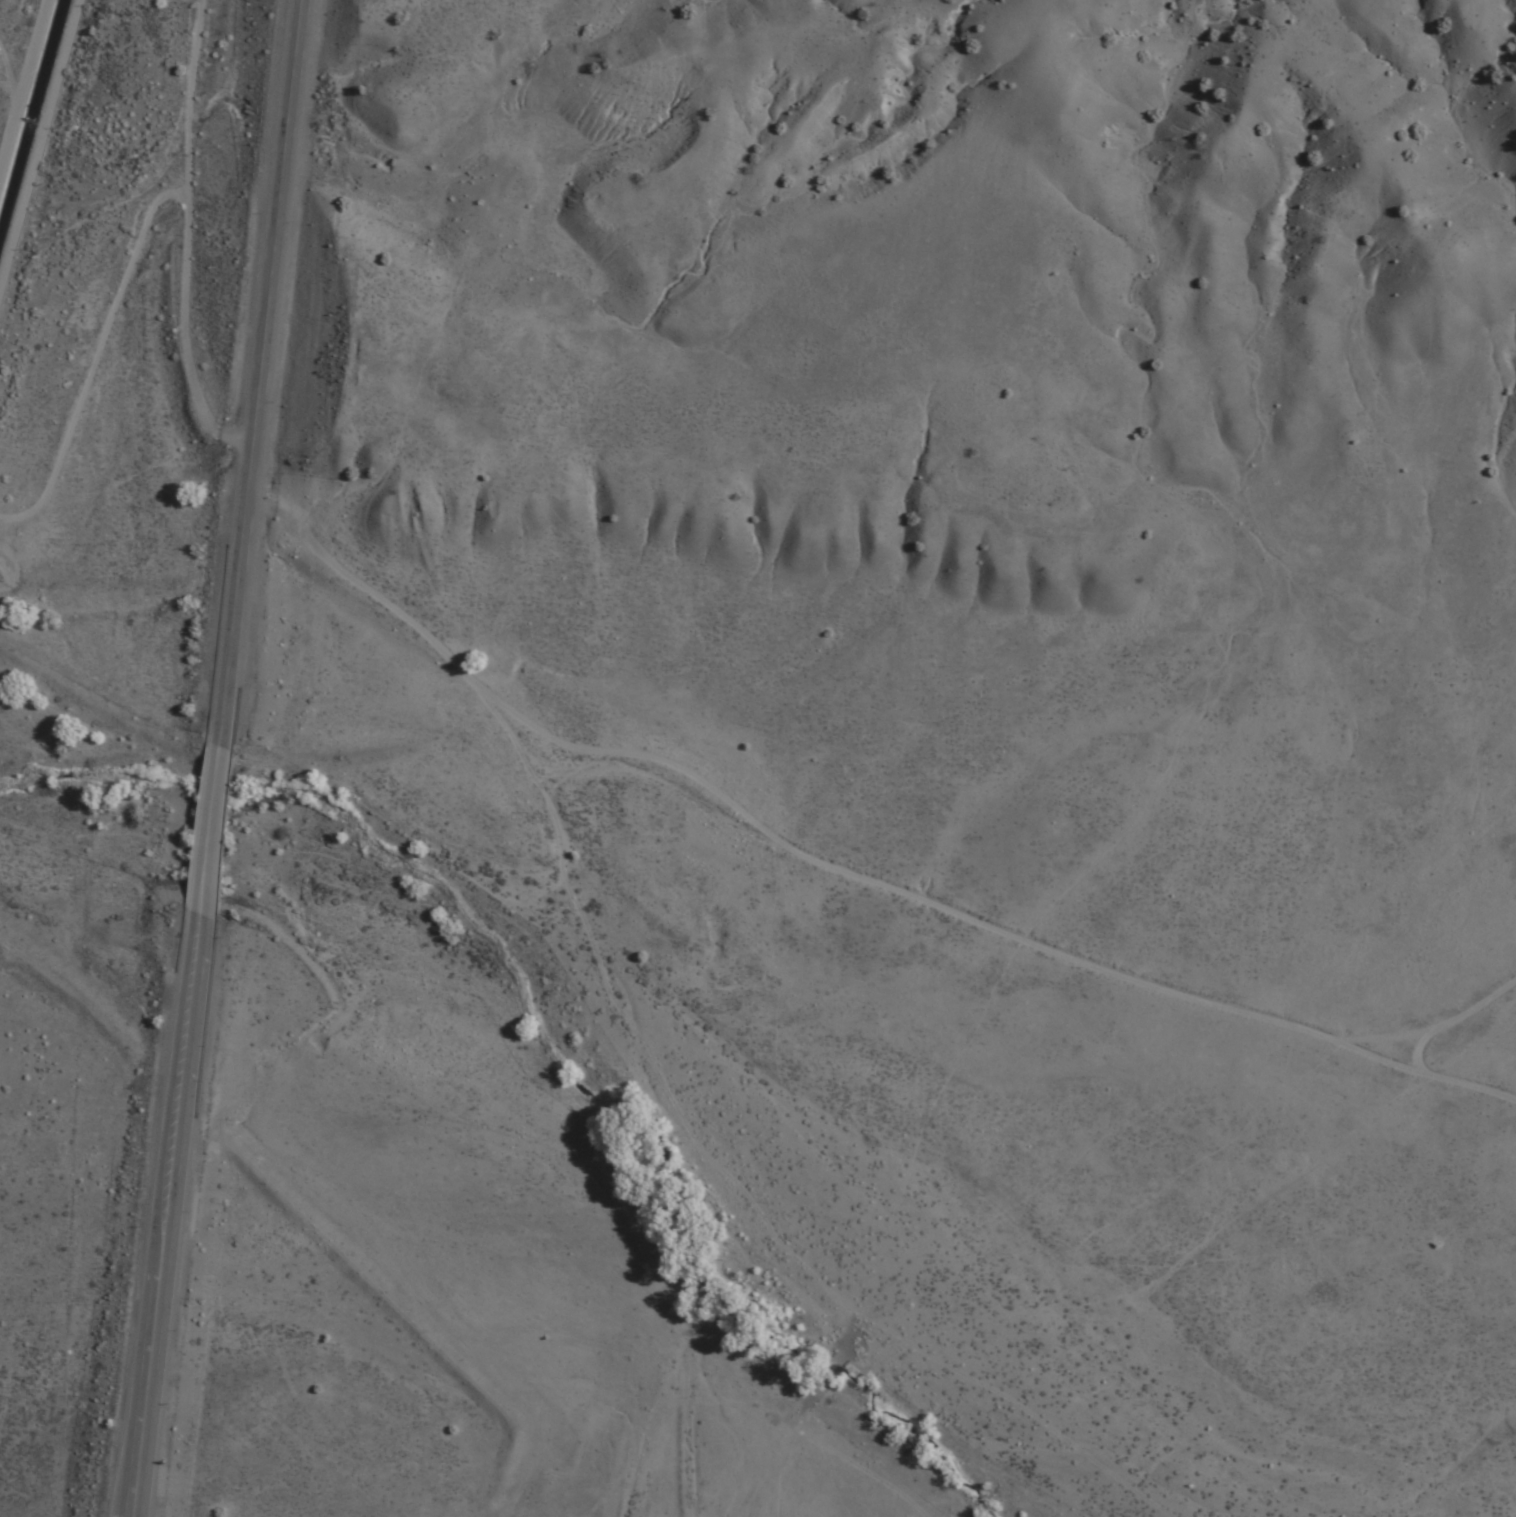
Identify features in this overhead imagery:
road: (258, 372)
road: (576, 805)
road: (210, 830)
river: (554, 1026)
road: (167, 1216)

